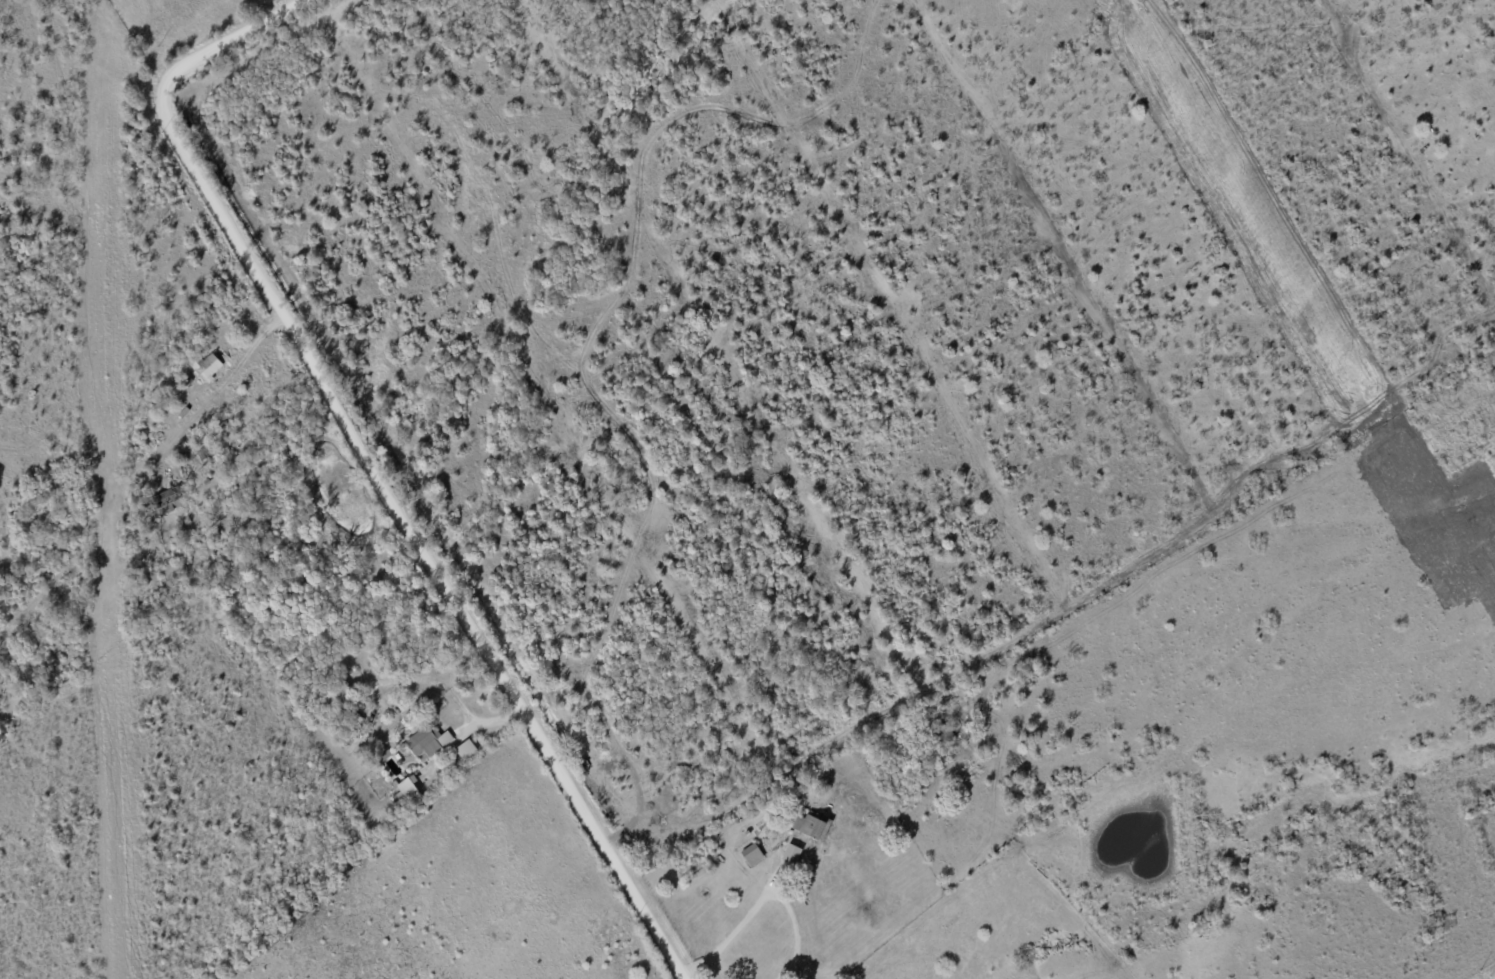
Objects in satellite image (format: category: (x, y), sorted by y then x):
building: (204, 366)
road: (364, 463)
building: (425, 741)
building: (810, 826)
building: (789, 854)
building: (750, 855)
road: (759, 898)

